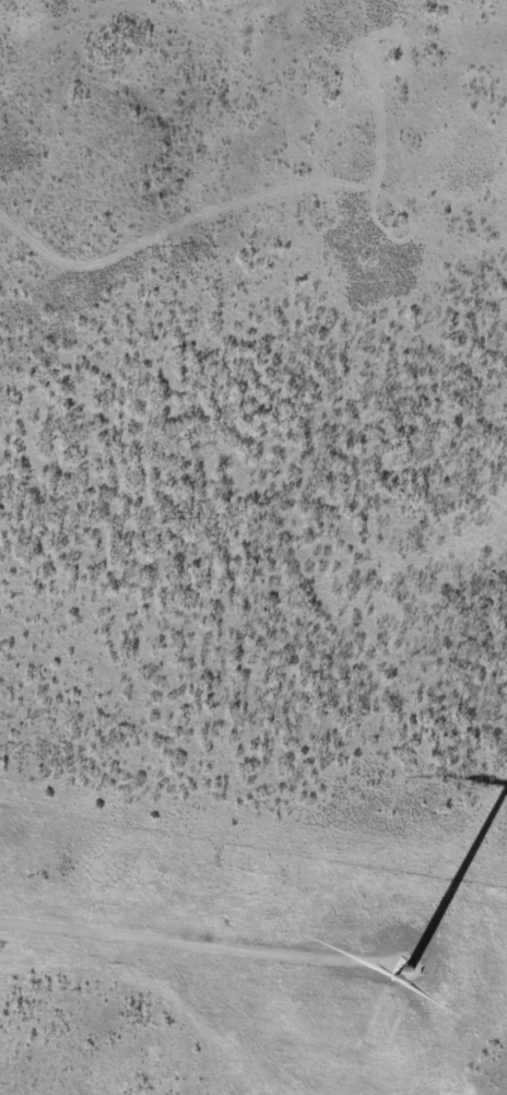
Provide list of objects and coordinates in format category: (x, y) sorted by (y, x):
road: (161, 957)
wind turbine: (405, 975)

